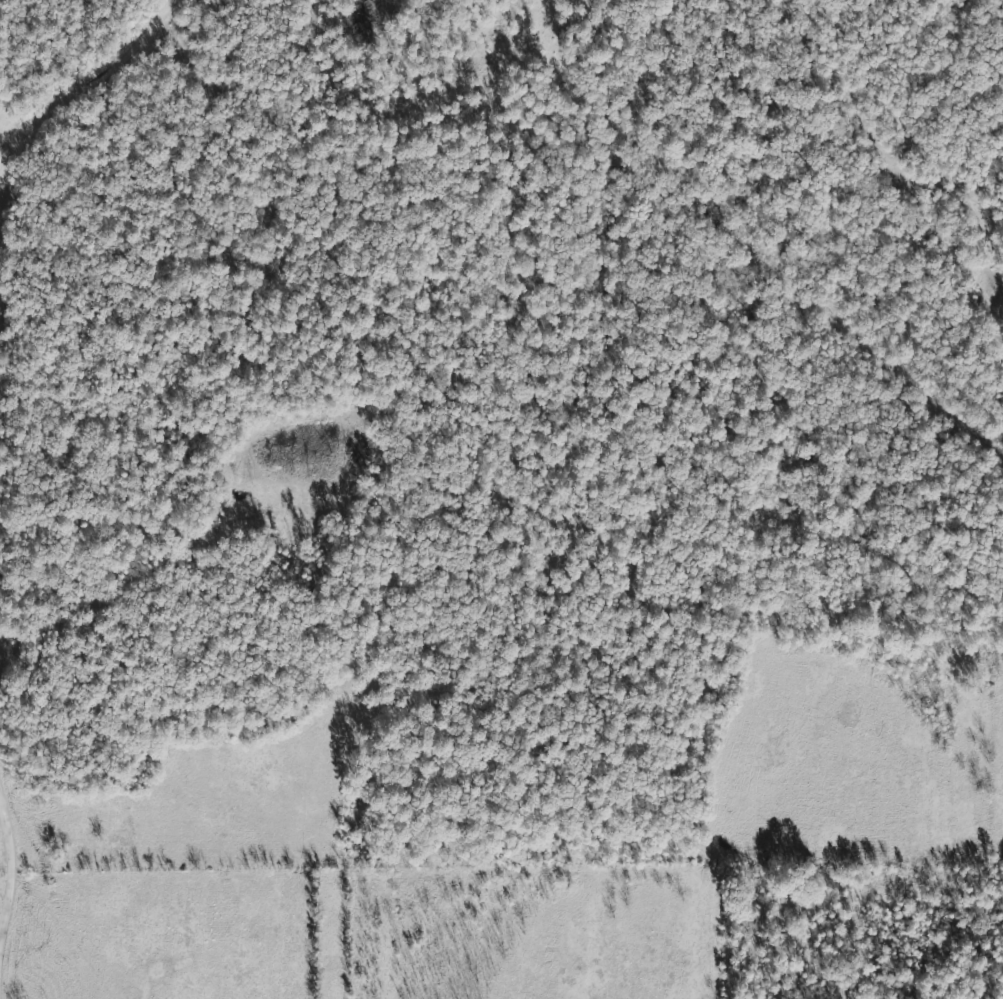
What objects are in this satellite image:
road: (92, 88)
road: (423, 499)
road: (11, 897)

